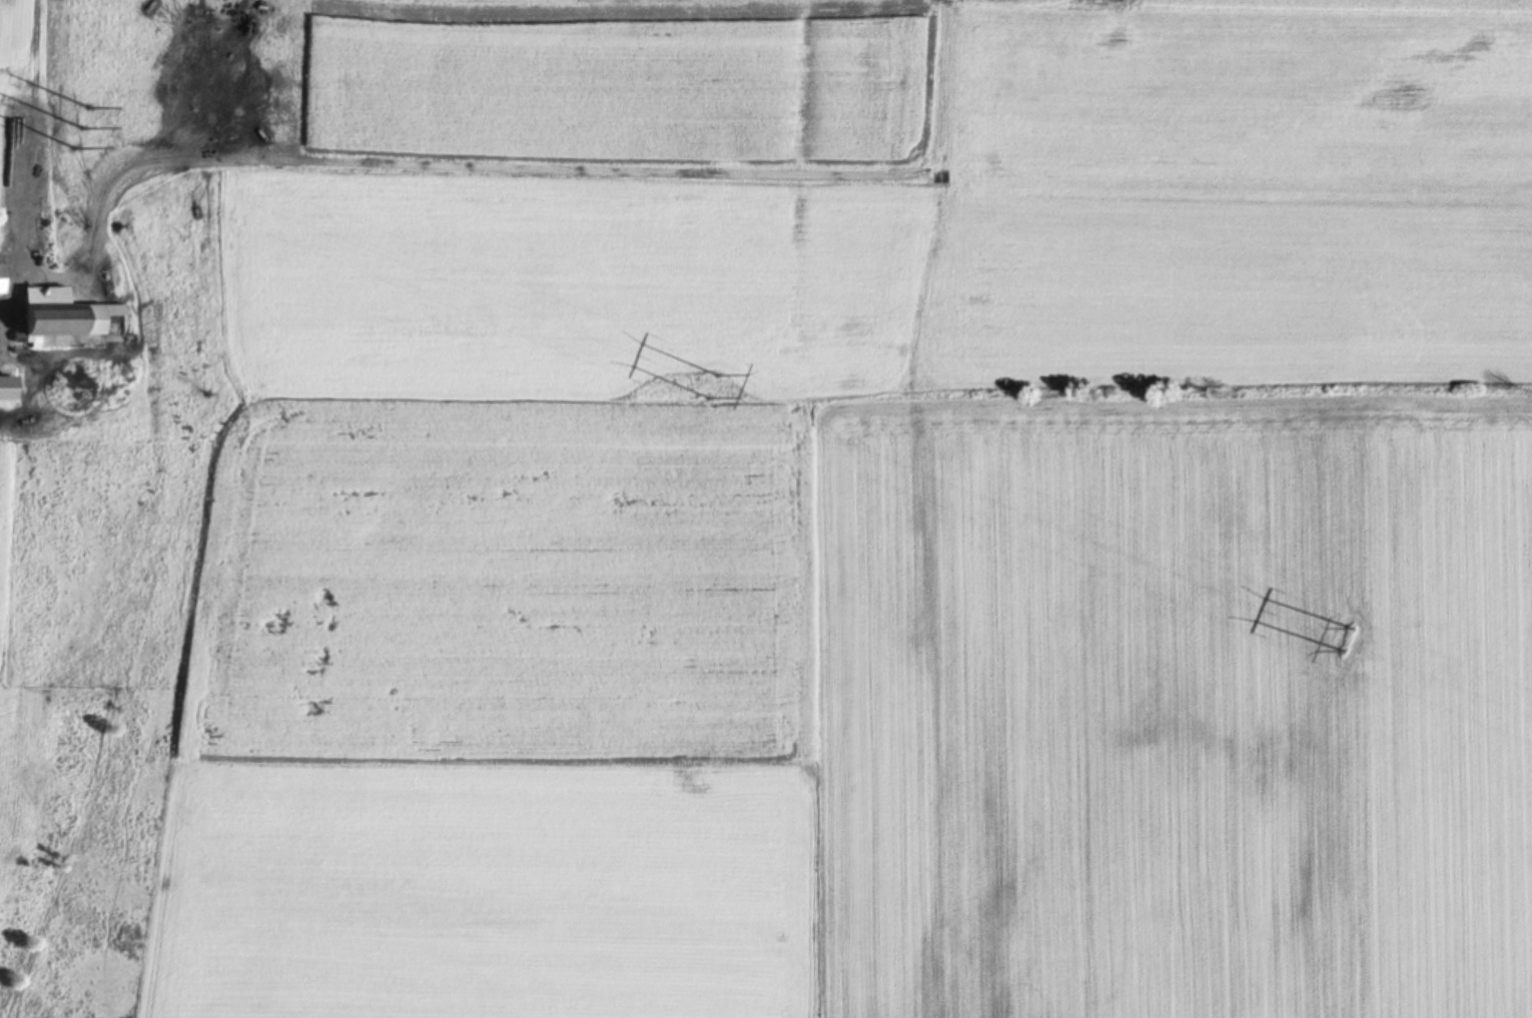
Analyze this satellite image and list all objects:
power tower: (82, 125)
building: (35, 176)
building: (0, 277)
building: (59, 318)
power tower: (714, 385)
building: (5, 386)
power tower: (1348, 635)

